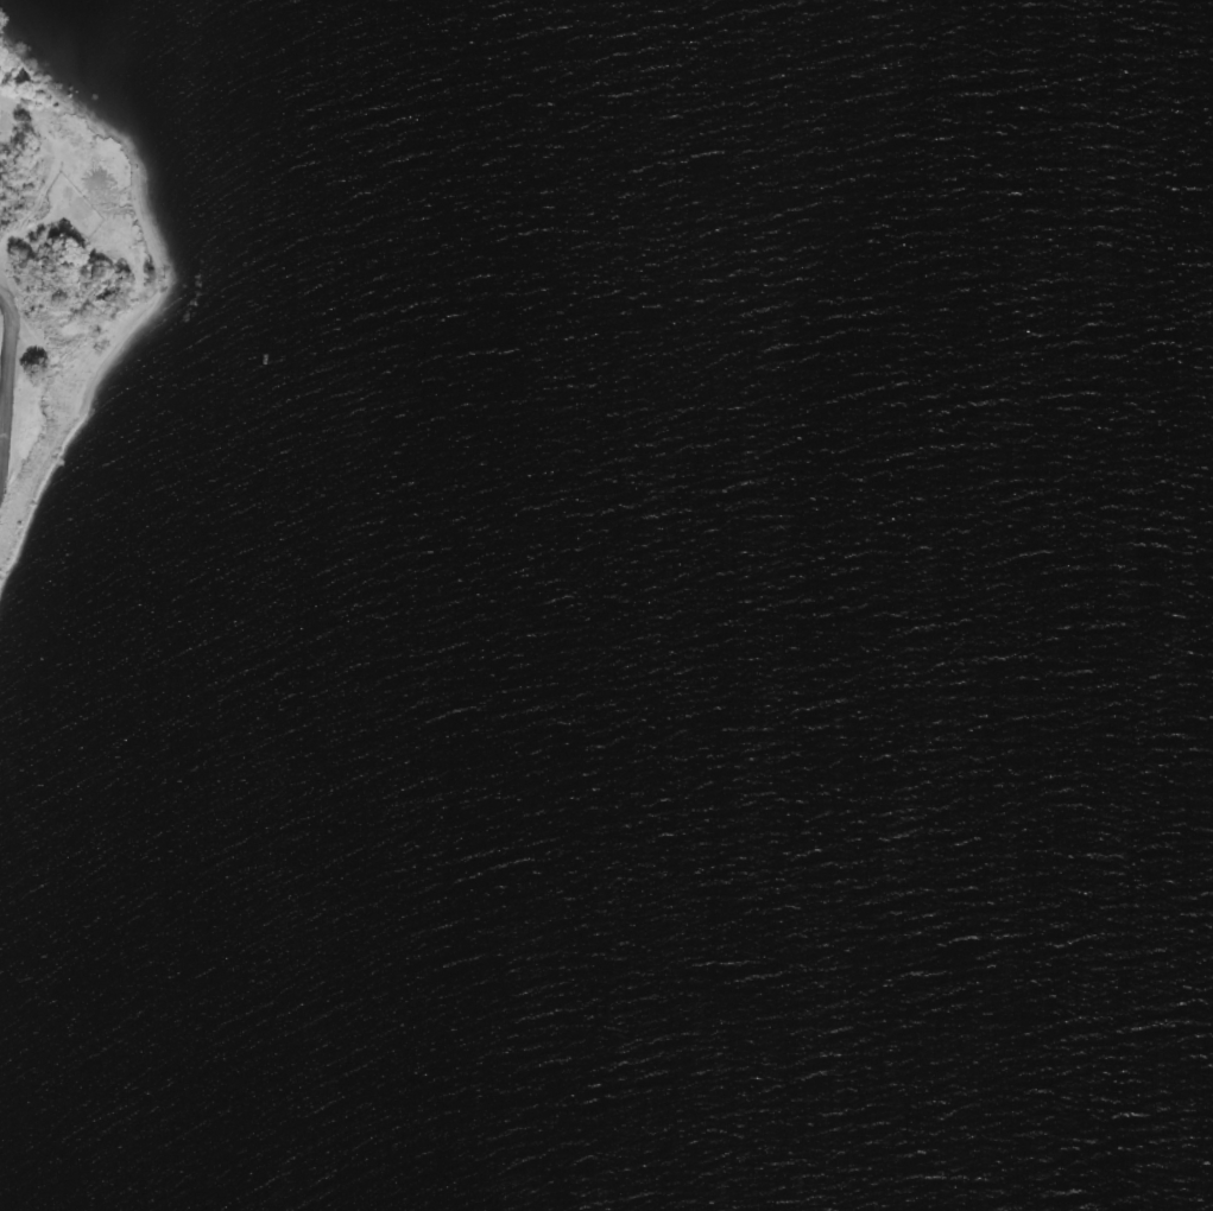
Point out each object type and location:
road: (4, 306)
road: (5, 393)

